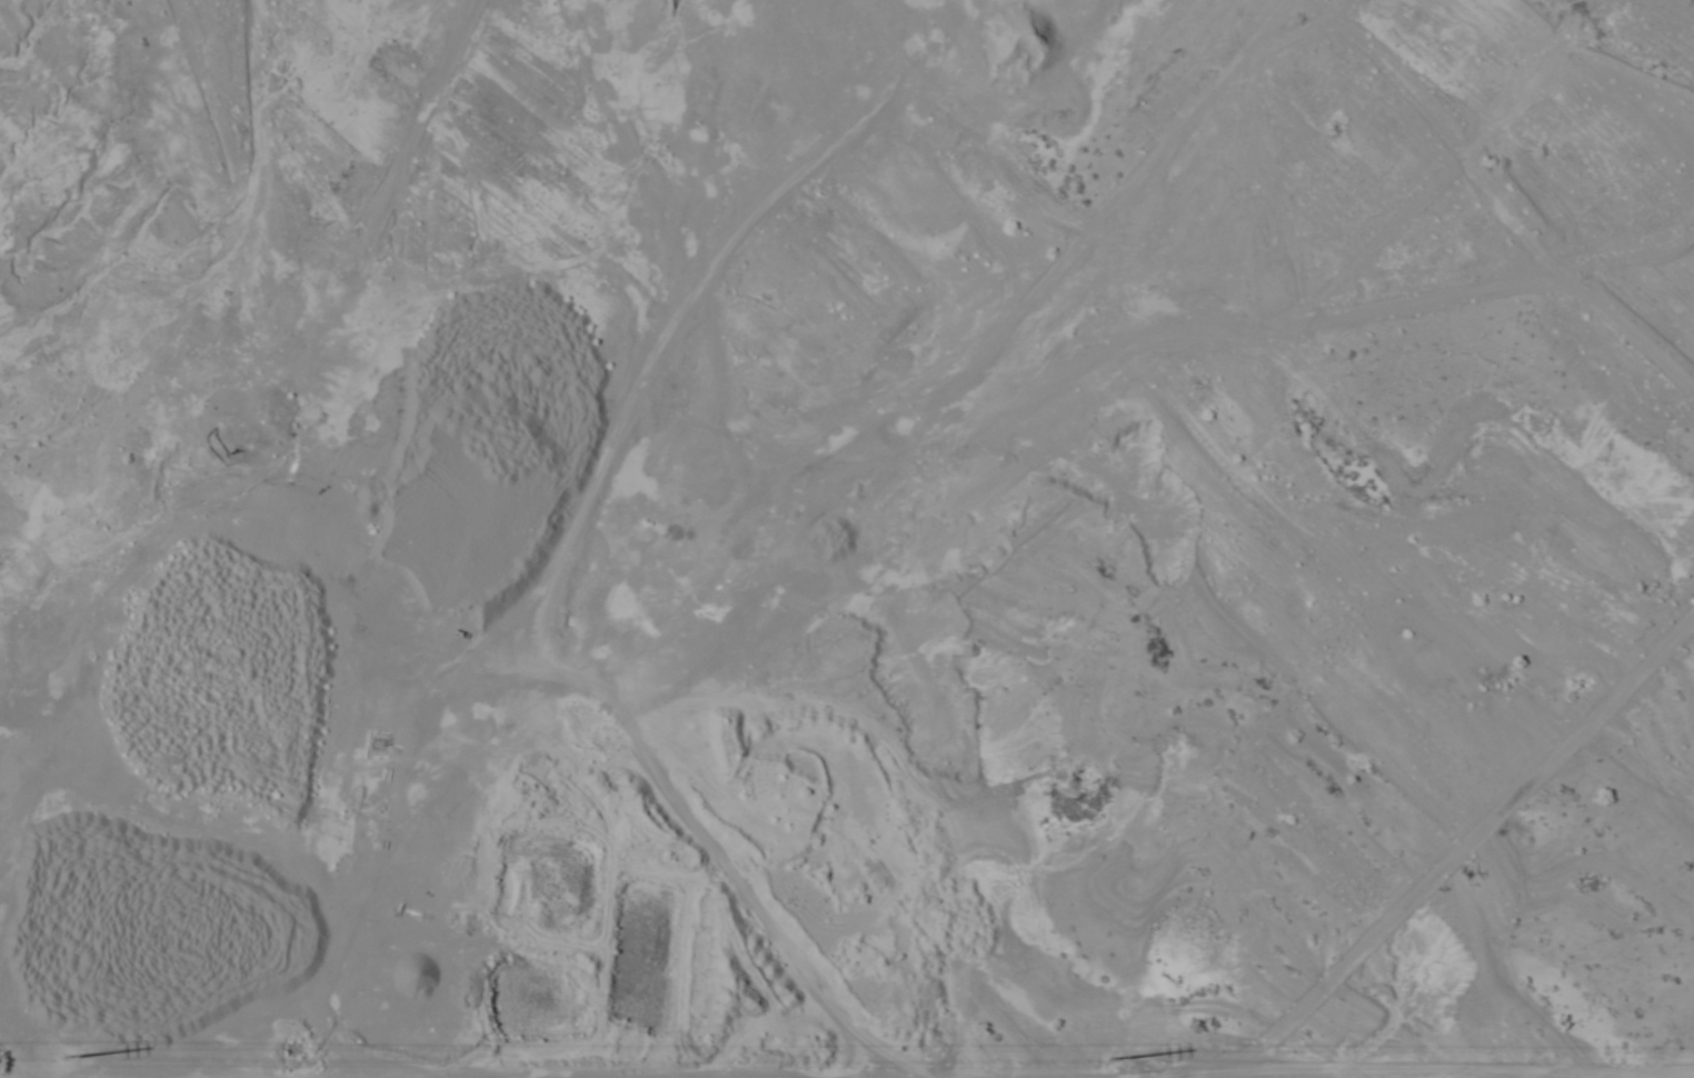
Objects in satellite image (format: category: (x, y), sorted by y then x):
road: (482, 1056)
power tower: (82, 1070)
power tower: (1122, 1075)

